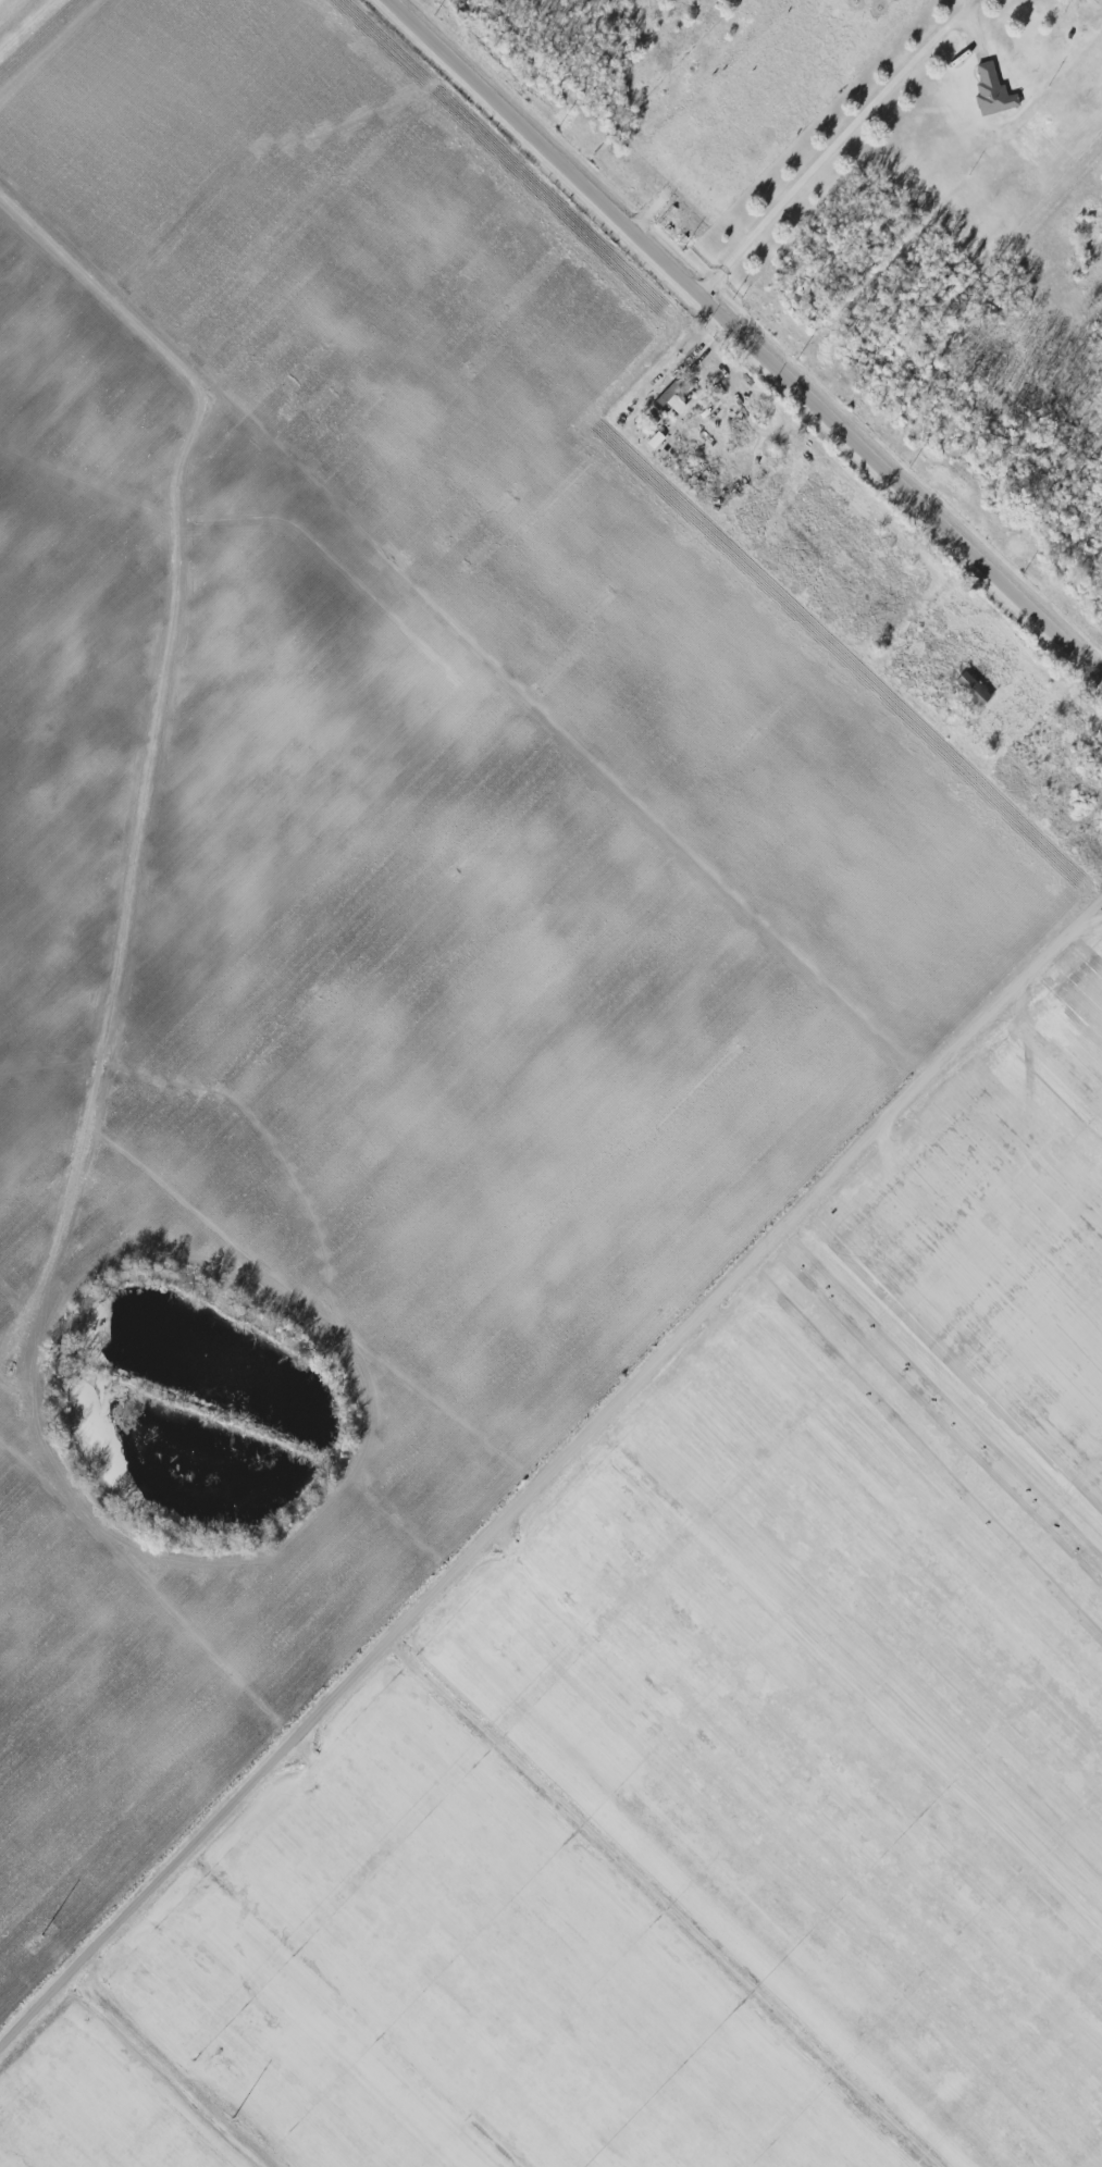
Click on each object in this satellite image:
building: (986, 90)
road: (838, 143)
road: (750, 335)
building: (968, 689)
road: (550, 1466)

